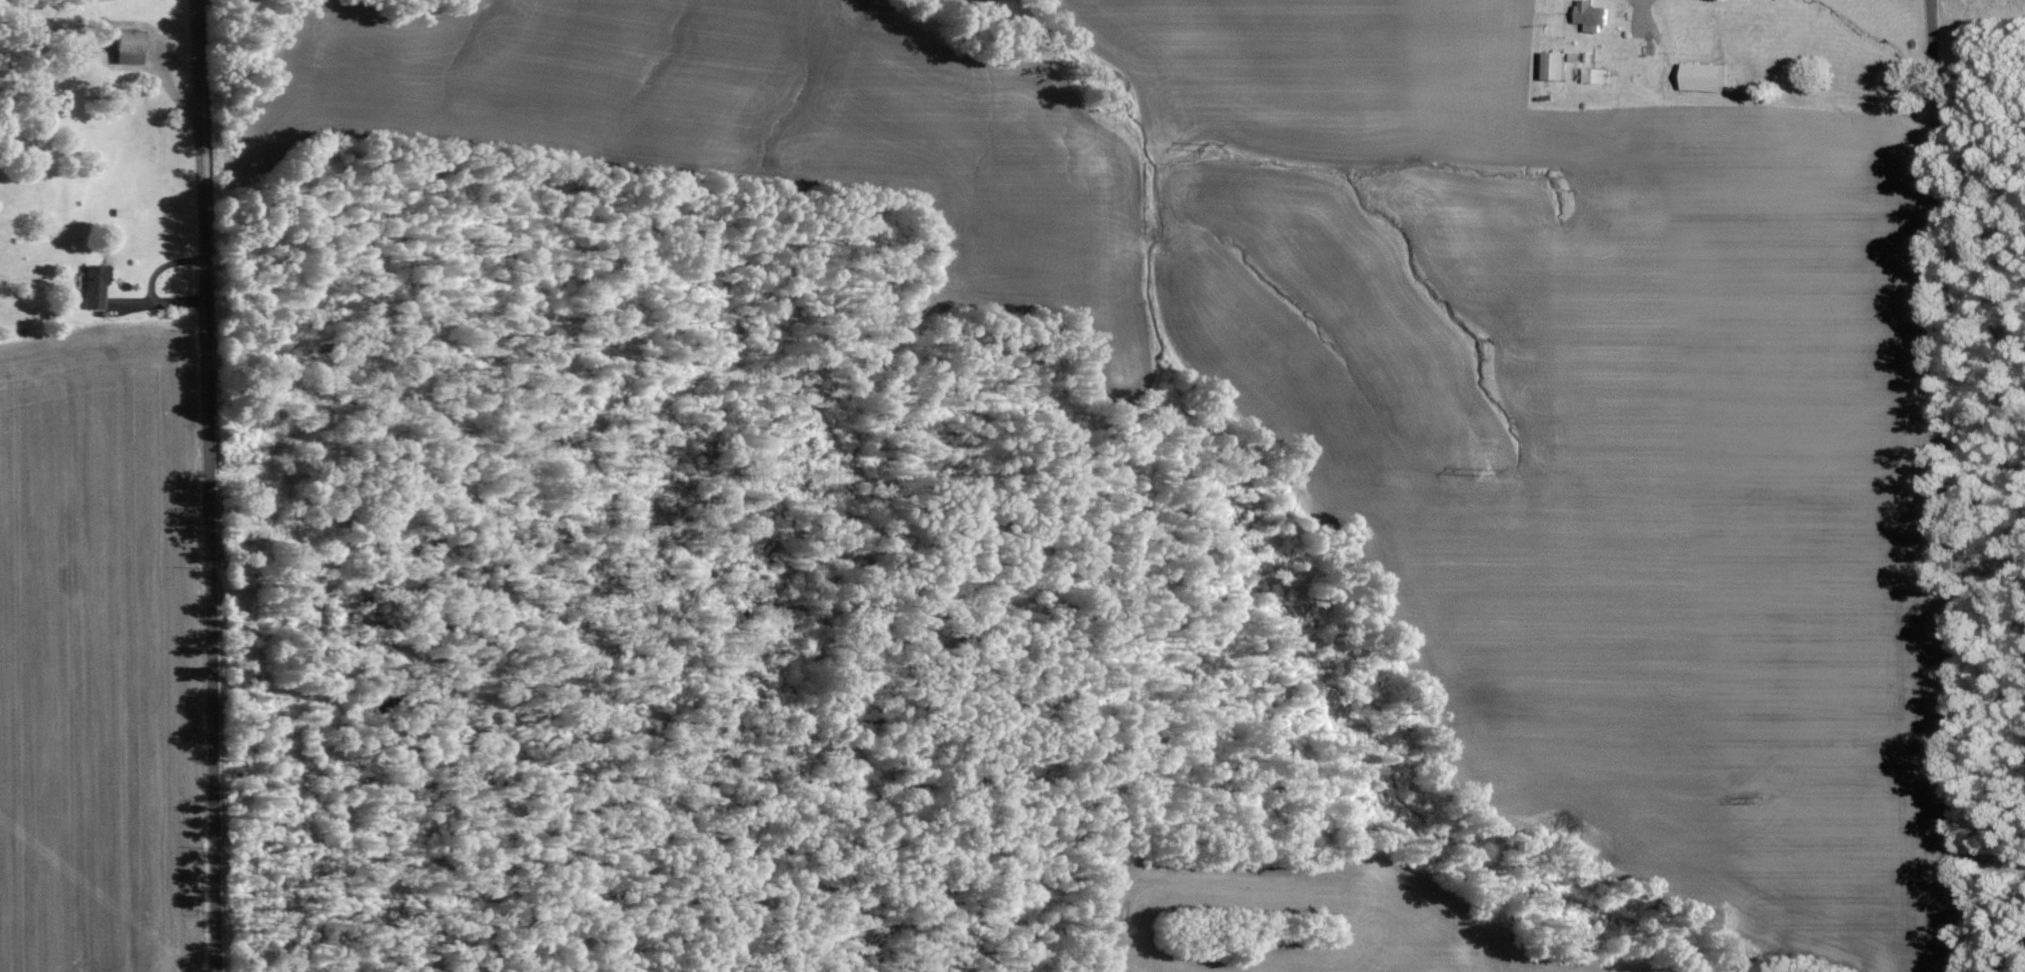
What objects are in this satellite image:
building: (1595, 15)
building: (126, 51)
building: (94, 284)
road: (139, 321)
road: (200, 485)
road: (1946, 485)

